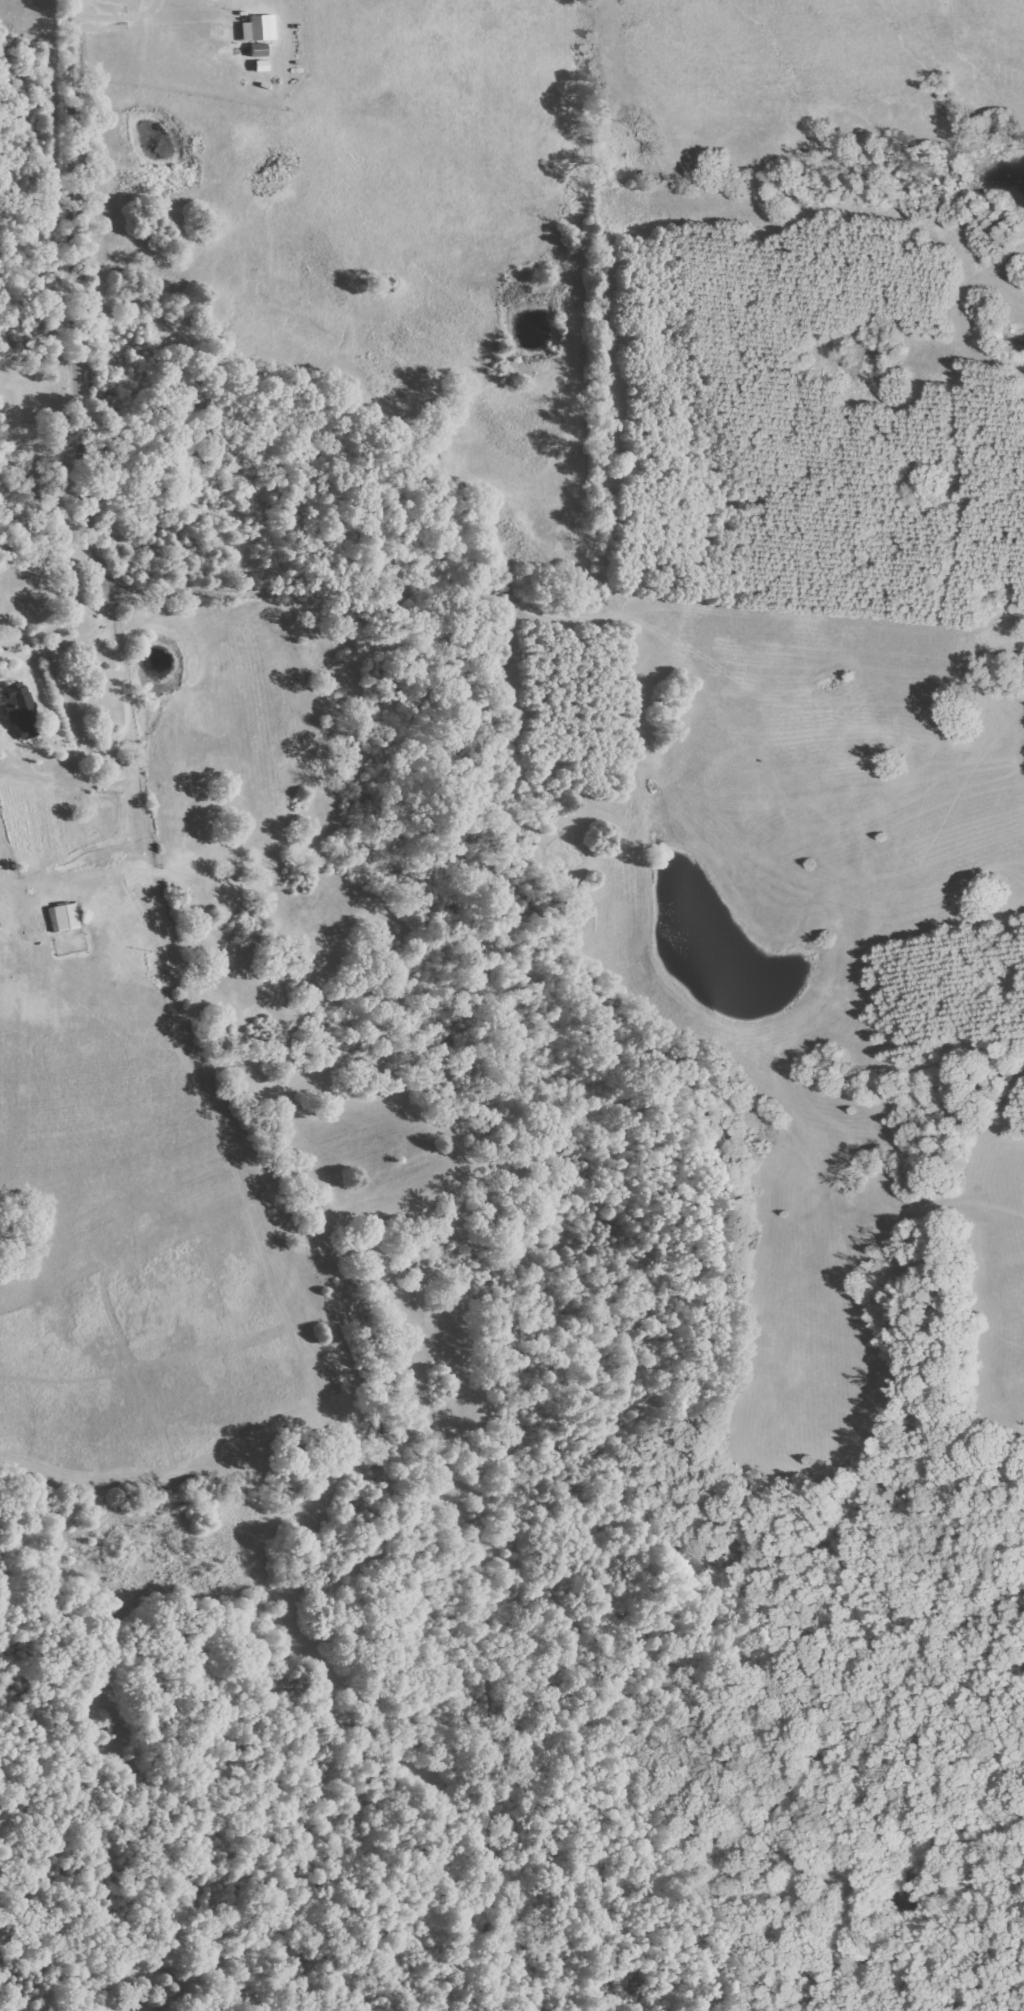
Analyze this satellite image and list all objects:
road: (117, 17)
building: (258, 29)
building: (258, 50)
road: (78, 361)
building: (0, 703)
building: (22, 709)
road: (55, 728)

